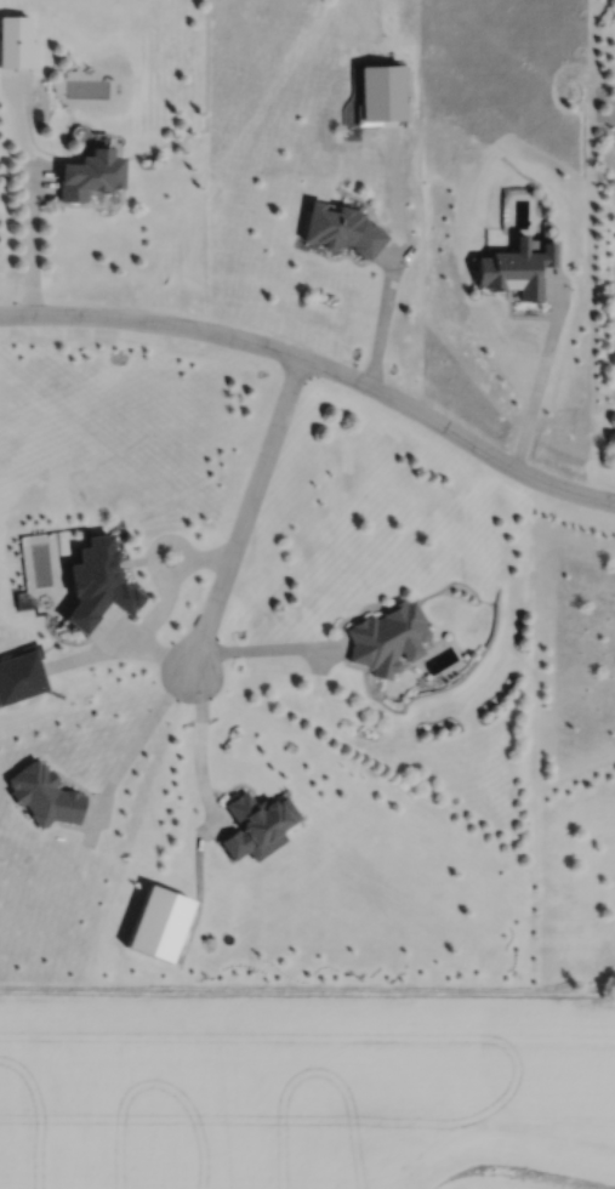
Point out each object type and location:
building: (92, 173)
building: (344, 229)
road: (32, 245)
road: (382, 323)
road: (320, 366)
road: (536, 380)
road: (241, 514)
road: (158, 608)
building: (389, 638)
road: (266, 647)
road: (146, 726)
road: (199, 736)

